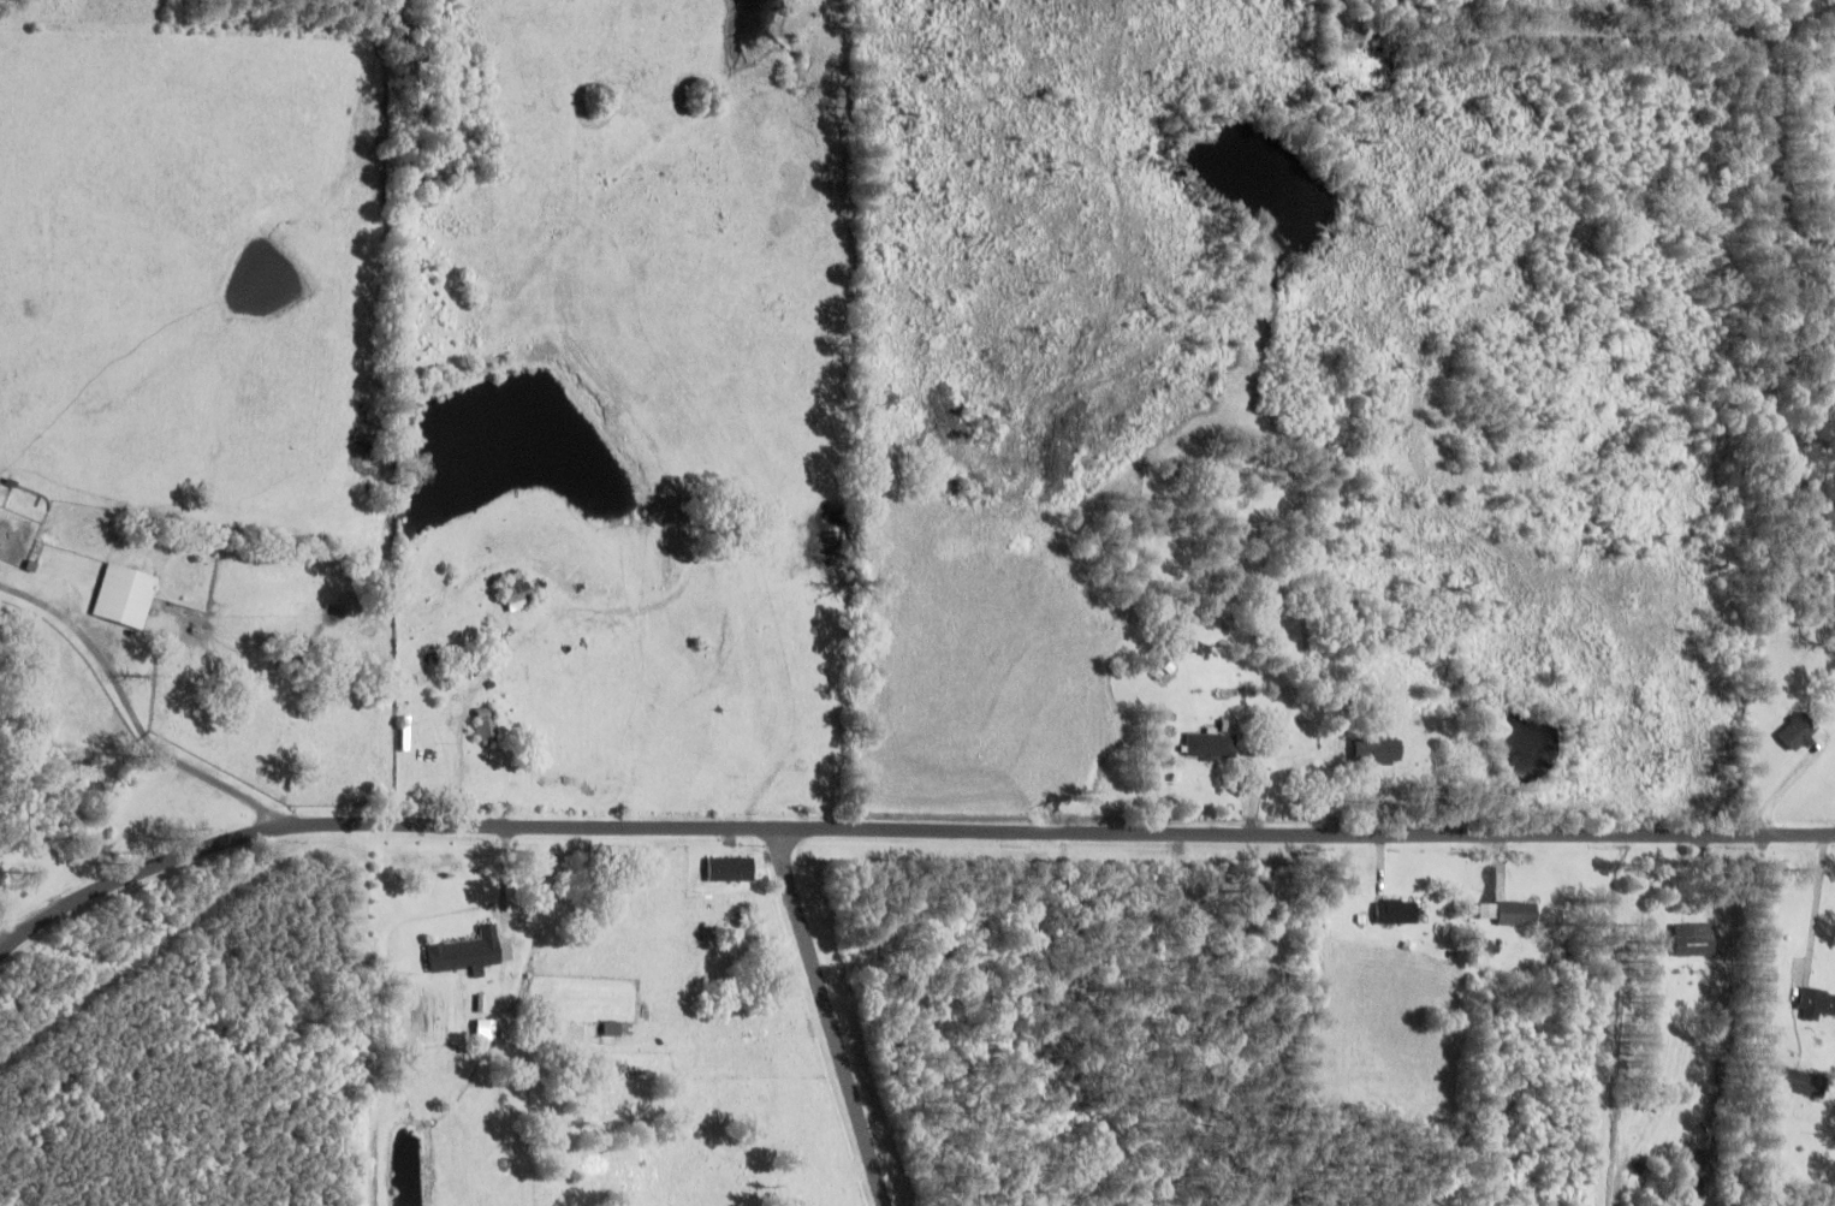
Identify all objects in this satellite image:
road: (4, 595)
building: (515, 596)
building: (123, 599)
road: (125, 718)
building: (485, 729)
building: (1797, 736)
building: (1207, 748)
building: (1372, 755)
road: (901, 827)
building: (729, 873)
road: (1821, 895)
building: (1394, 915)
building: (1515, 916)
building: (1693, 943)
building: (463, 955)
building: (1816, 1008)
road: (197, 1010)
road: (831, 1018)
building: (608, 1032)
building: (1803, 1086)

